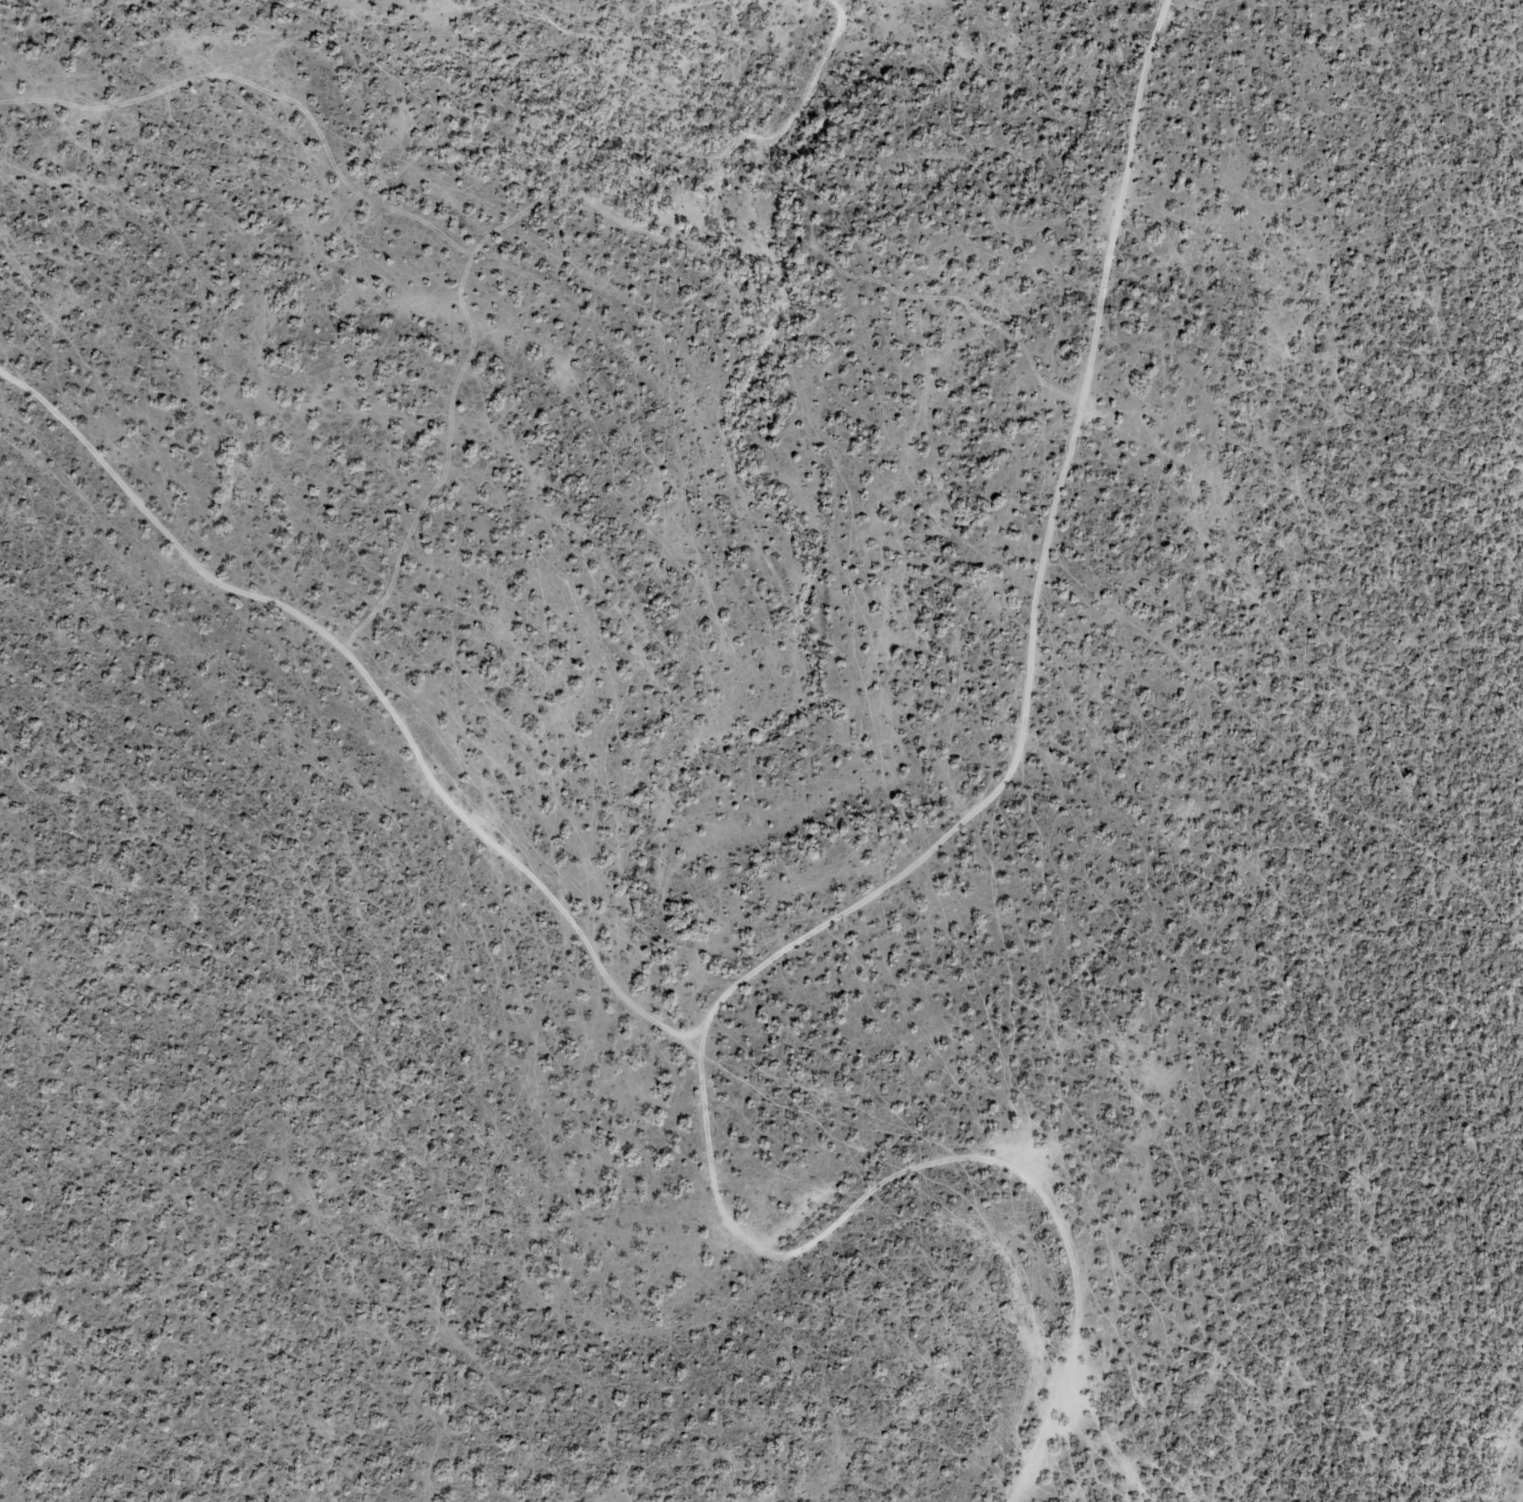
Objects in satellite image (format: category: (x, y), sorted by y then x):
road: (986, 586)
road: (616, 1015)

